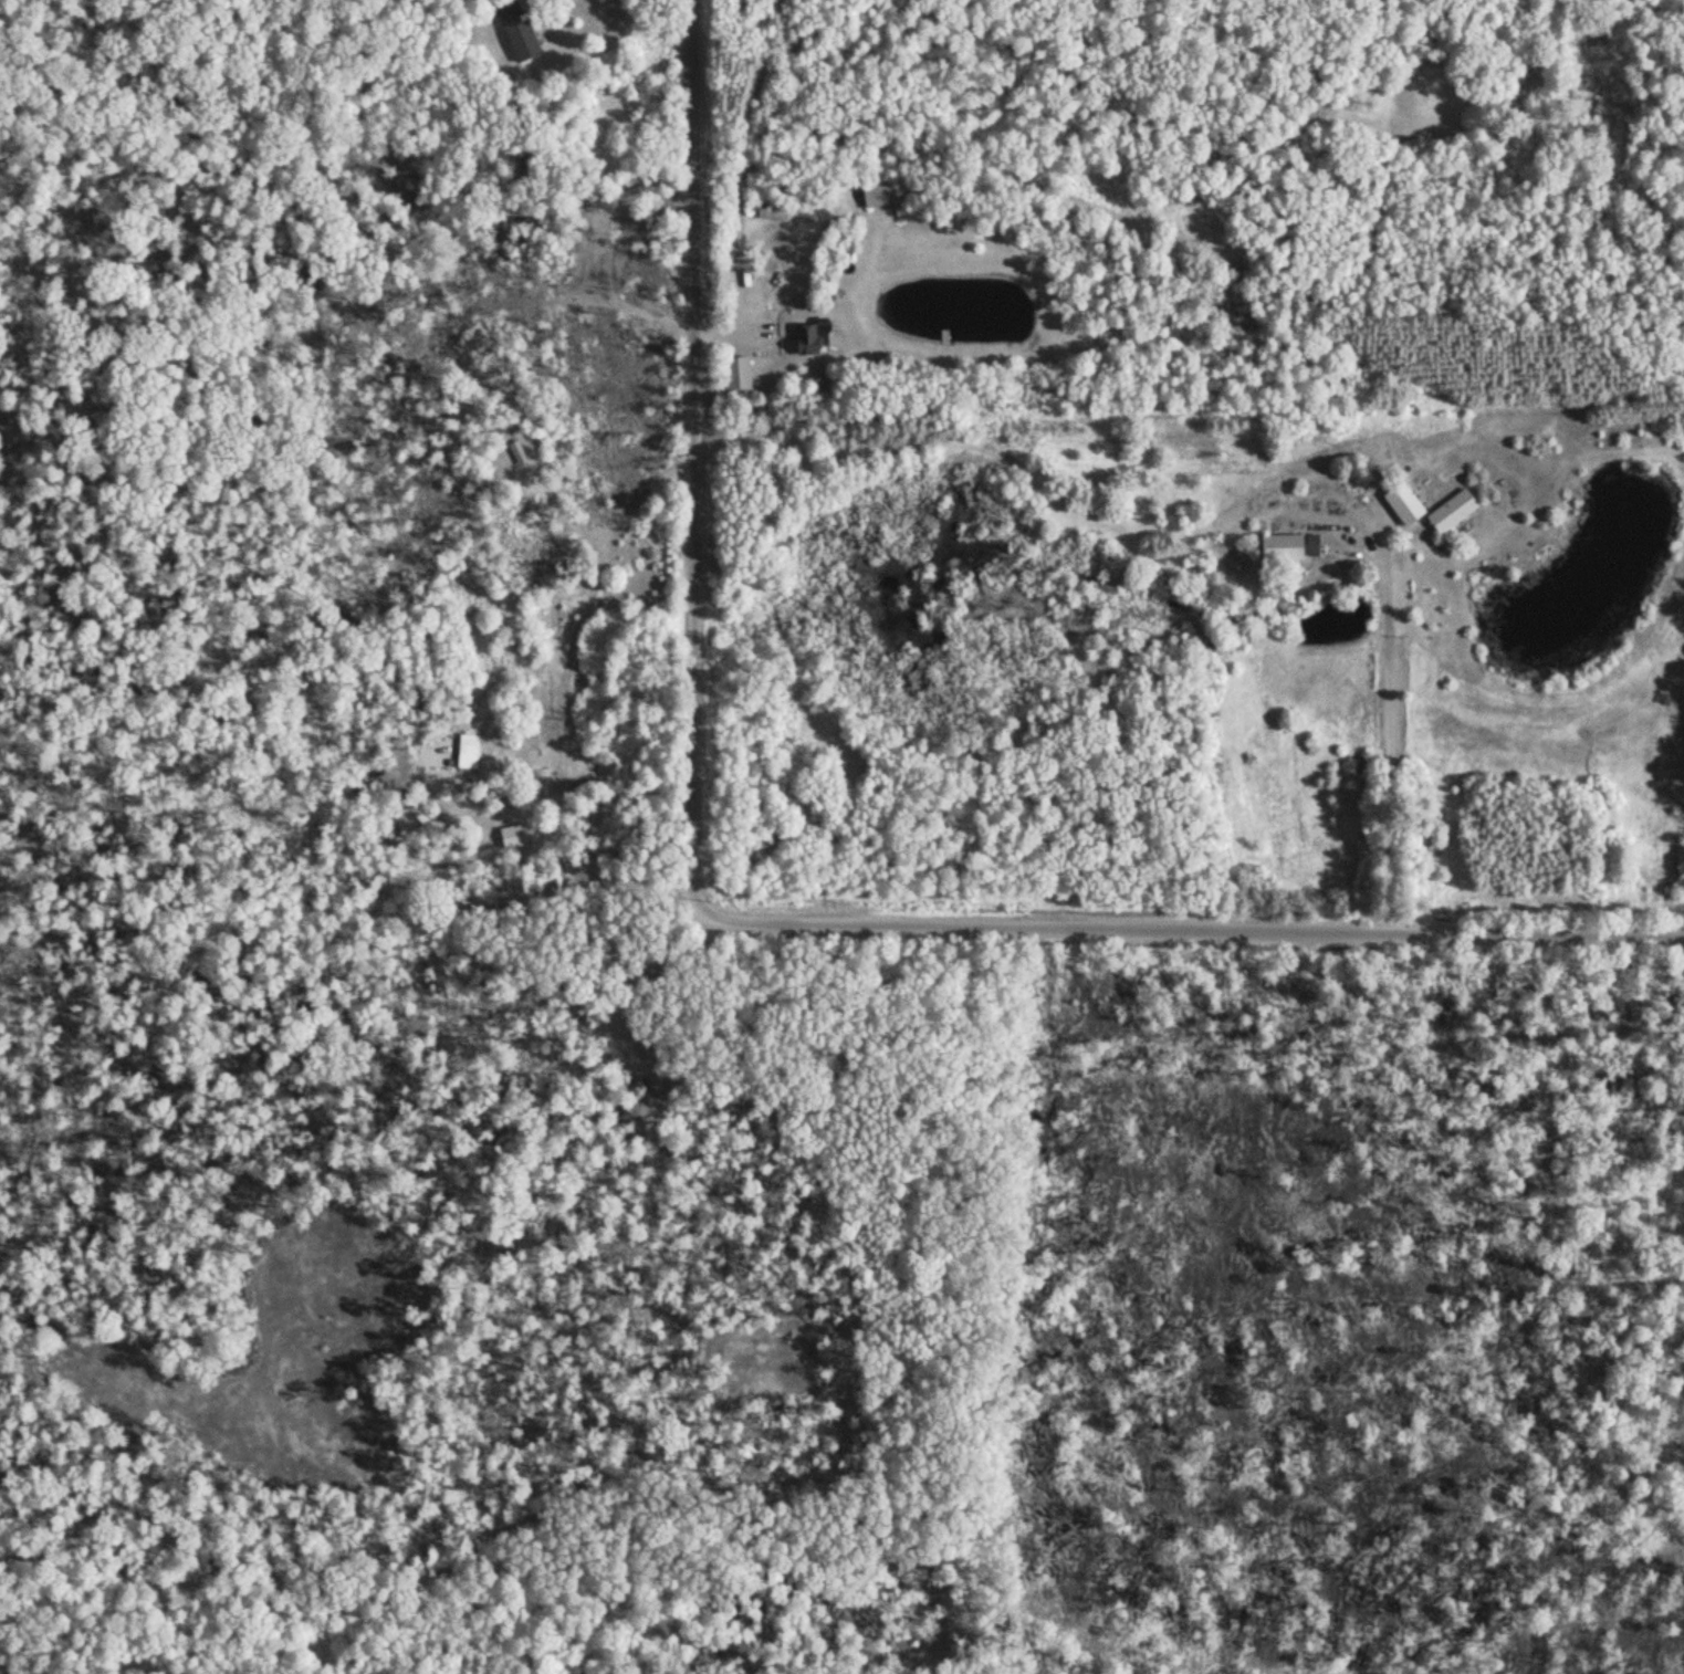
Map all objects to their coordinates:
building: (513, 32)
building: (870, 195)
building: (805, 341)
building: (734, 376)
building: (1448, 513)
building: (1308, 547)
building: (1276, 550)
road: (1391, 726)
road: (740, 917)

